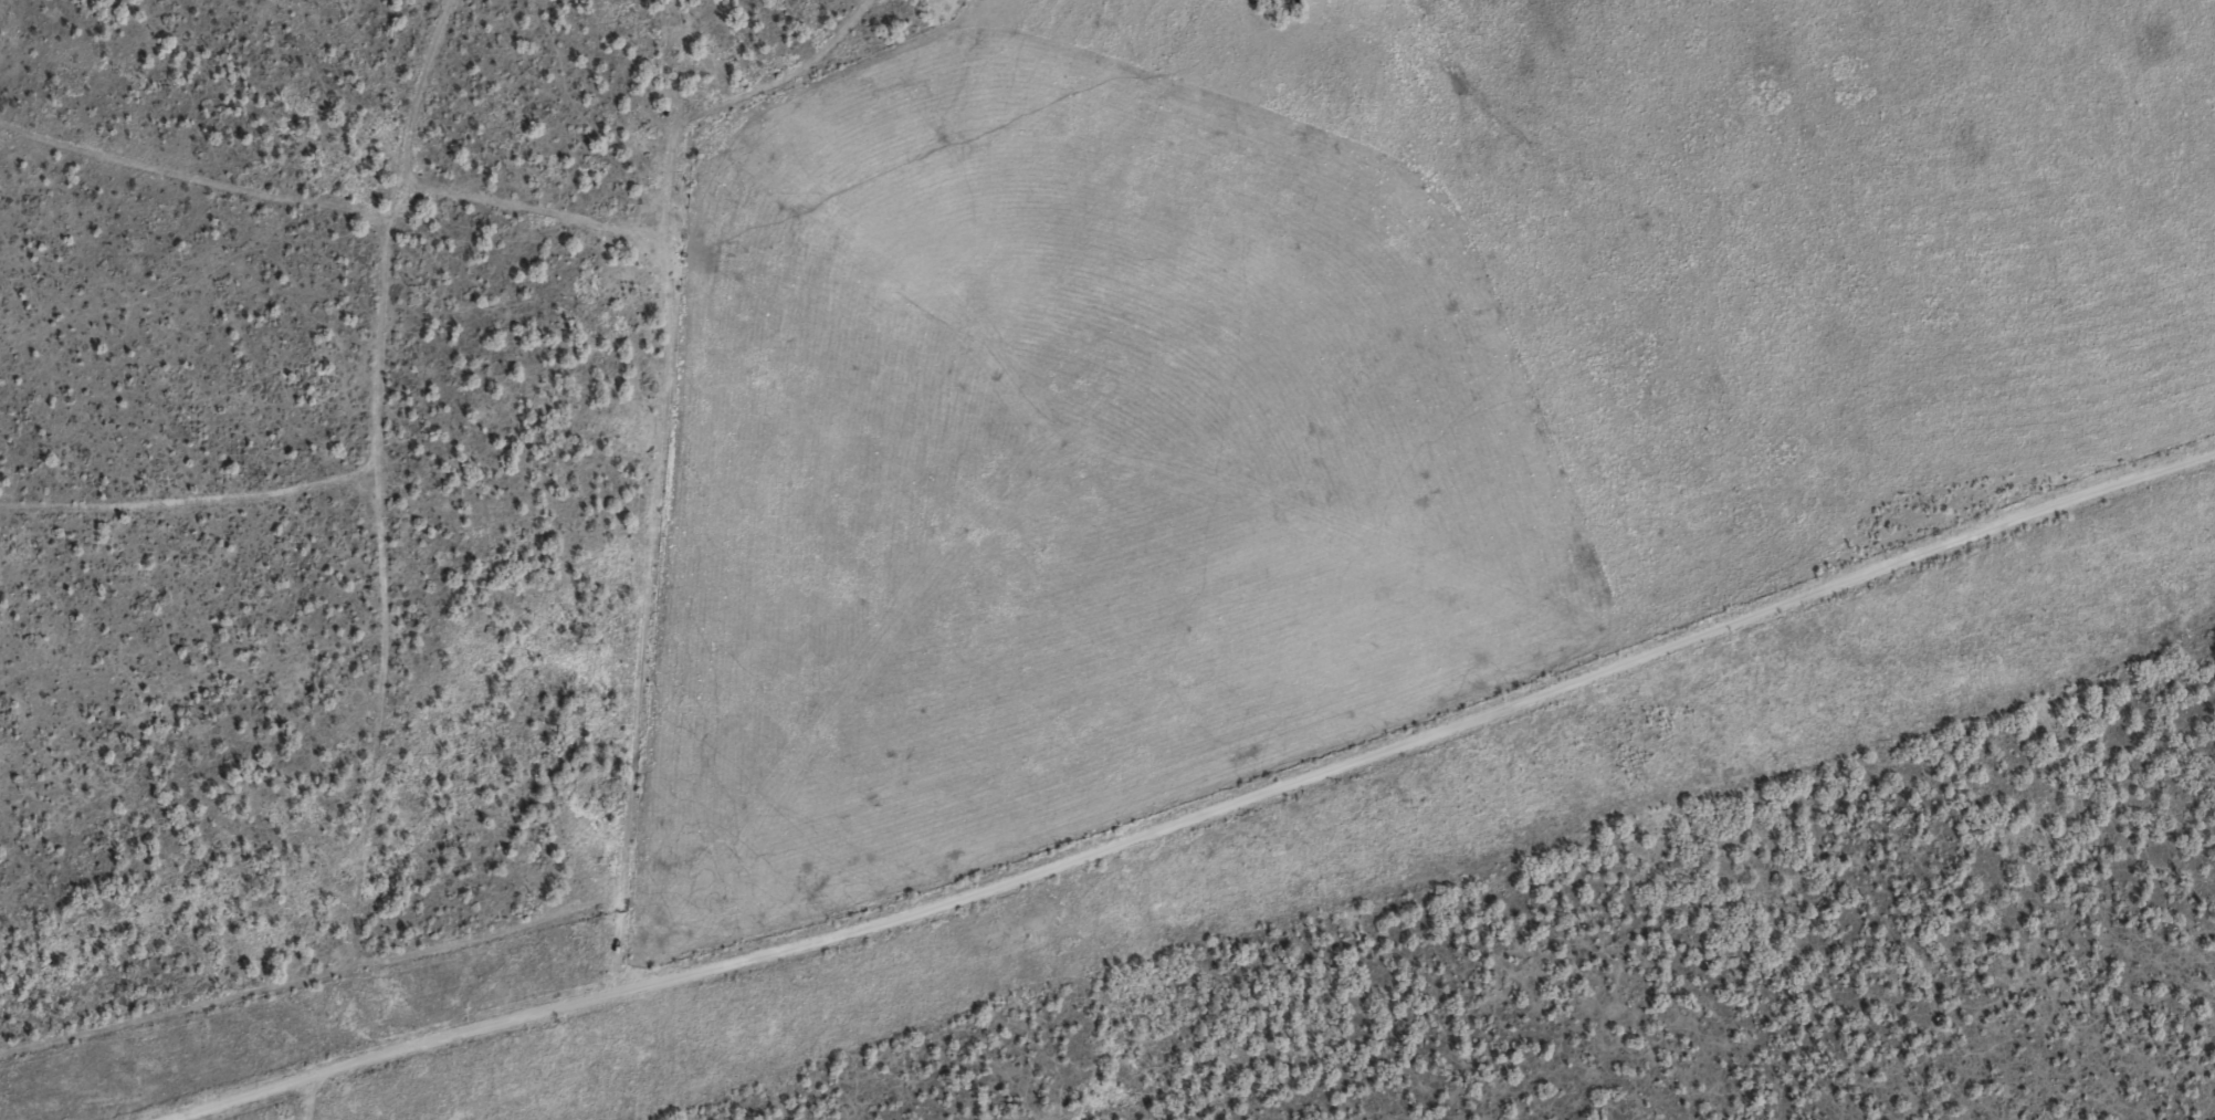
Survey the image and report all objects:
road: (370, 561)
road: (1258, 804)
road: (260, 1114)

